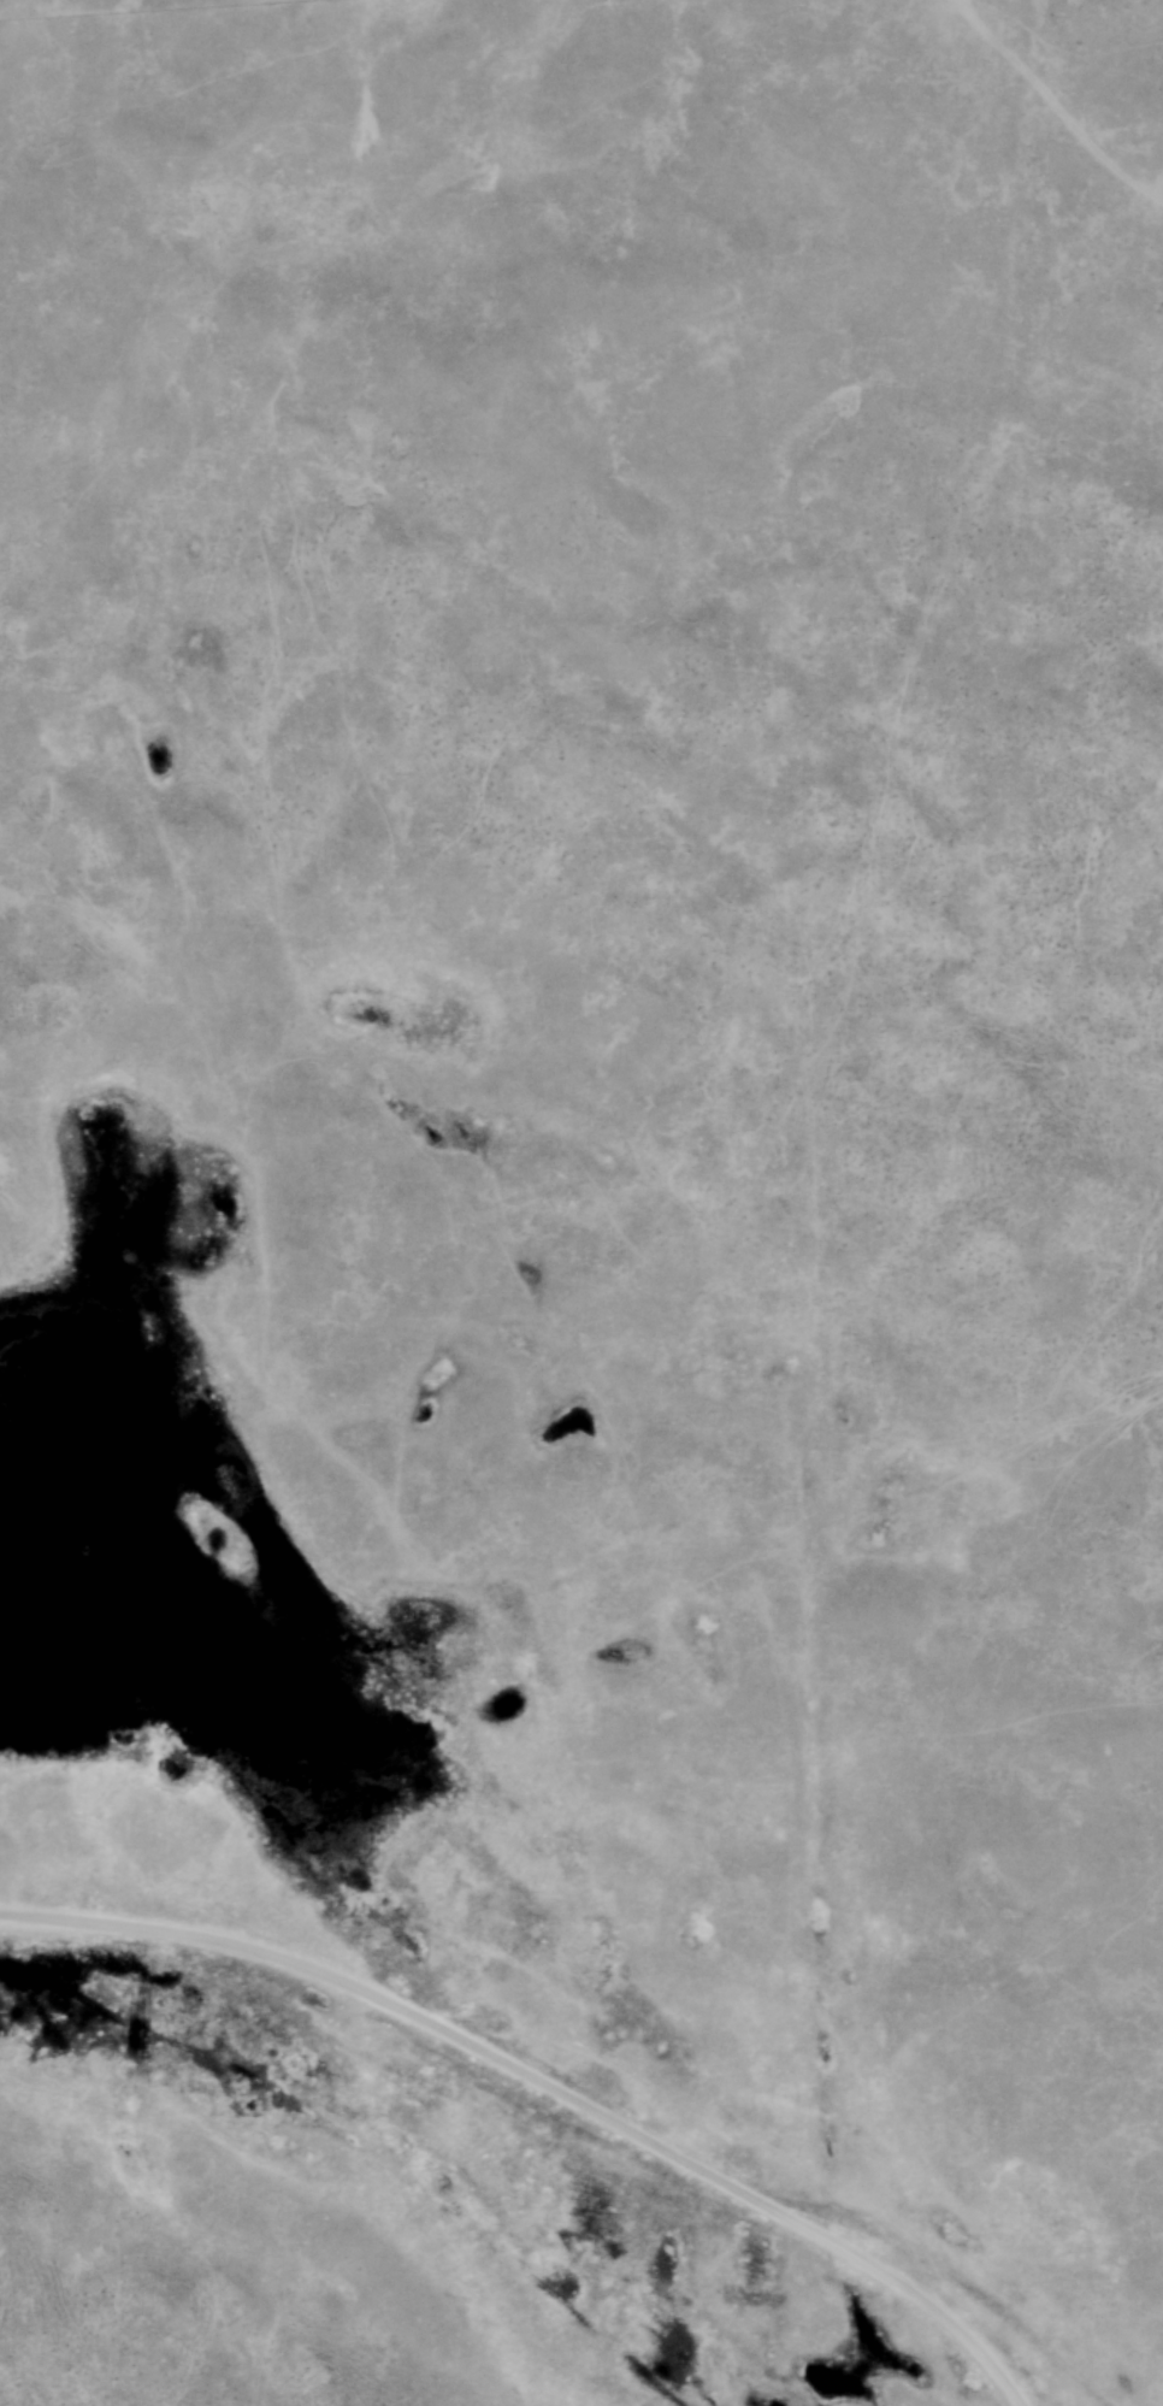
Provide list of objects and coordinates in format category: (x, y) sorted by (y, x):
road: (550, 2074)

